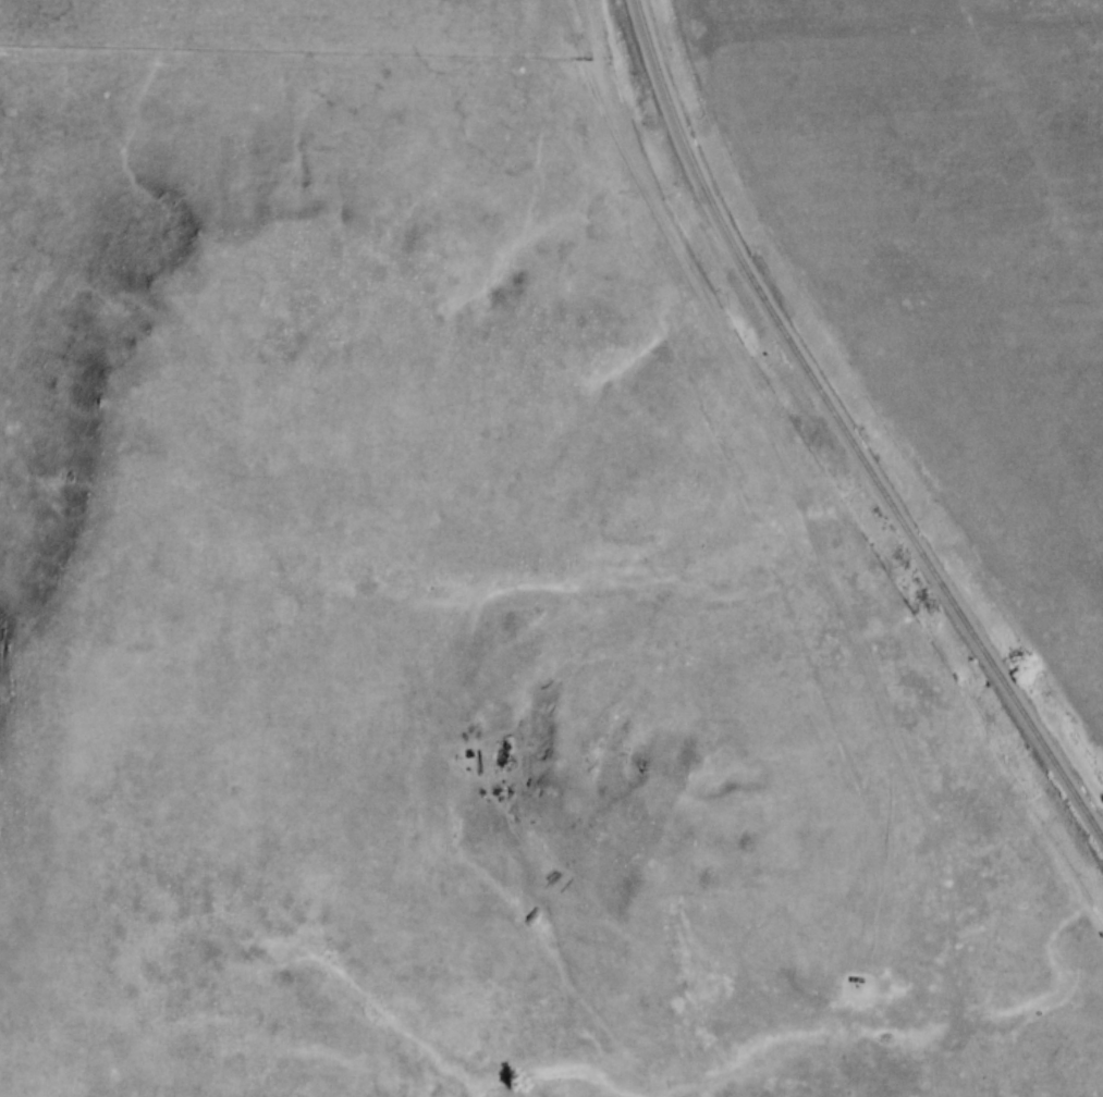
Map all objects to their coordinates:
railway: (844, 439)

